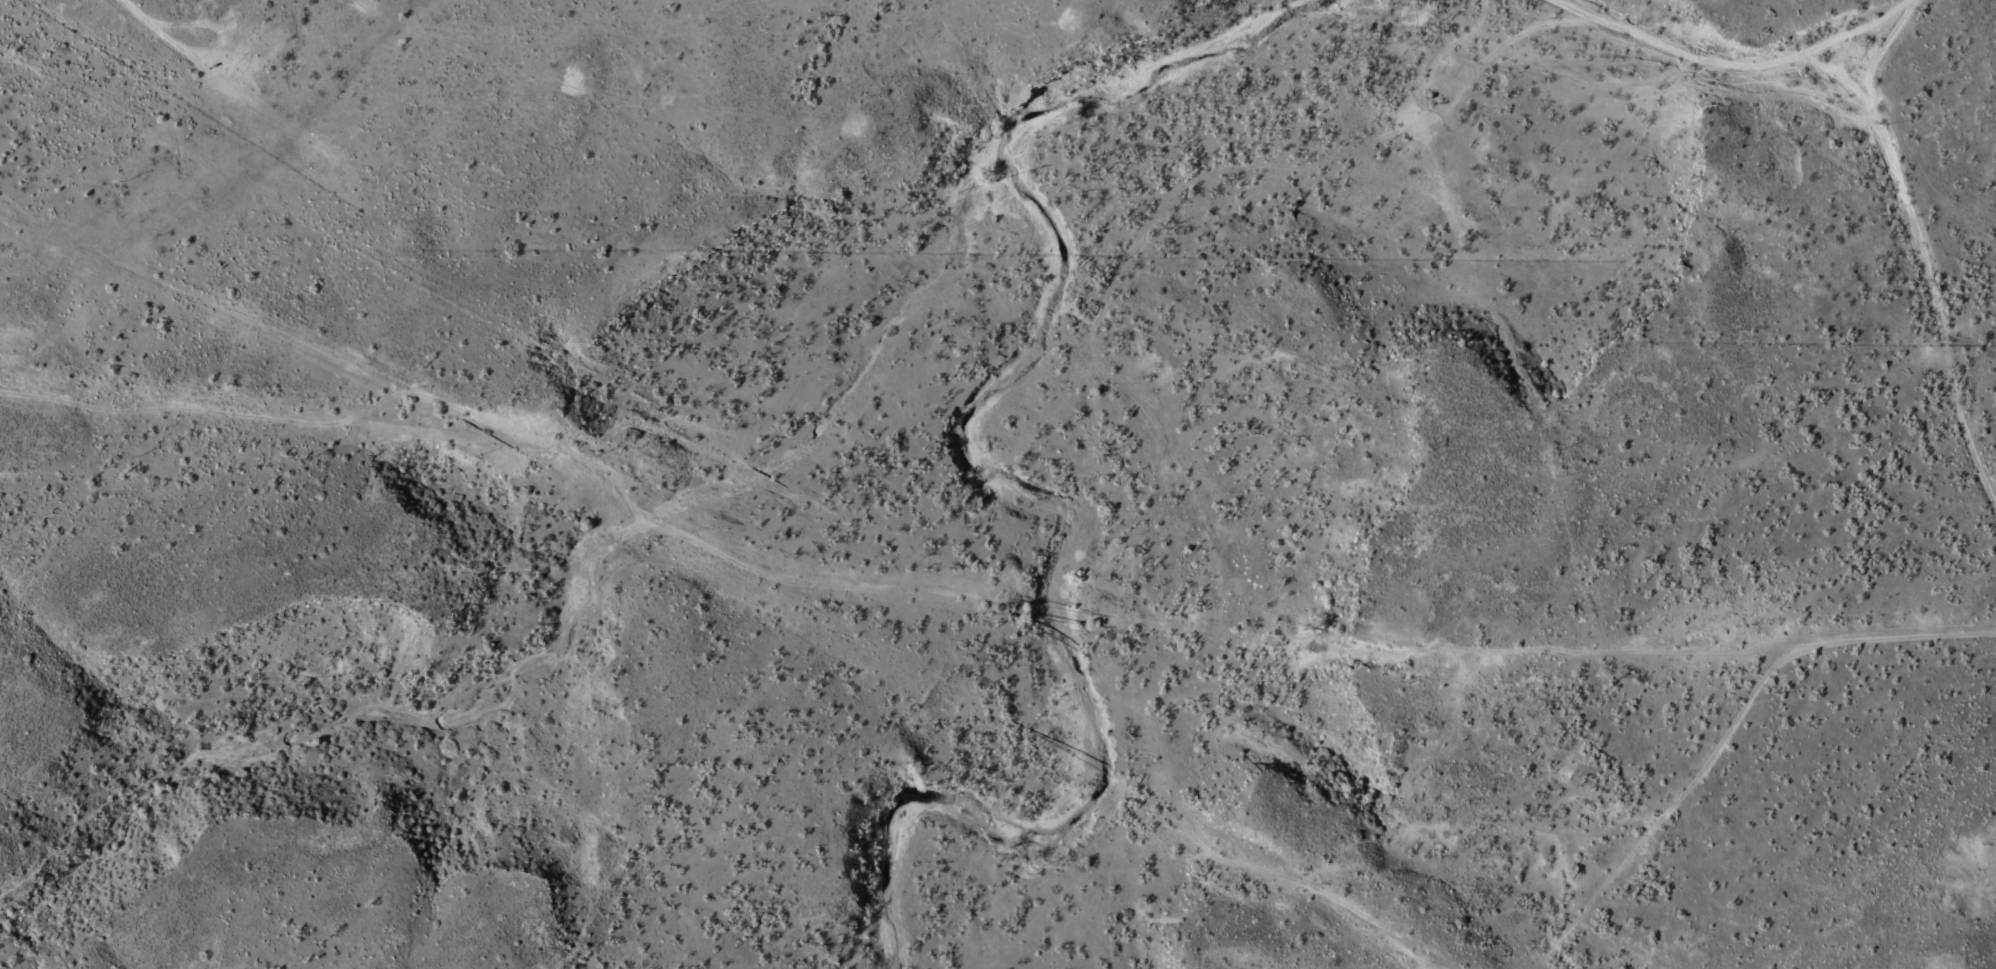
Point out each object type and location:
road: (1903, 248)

